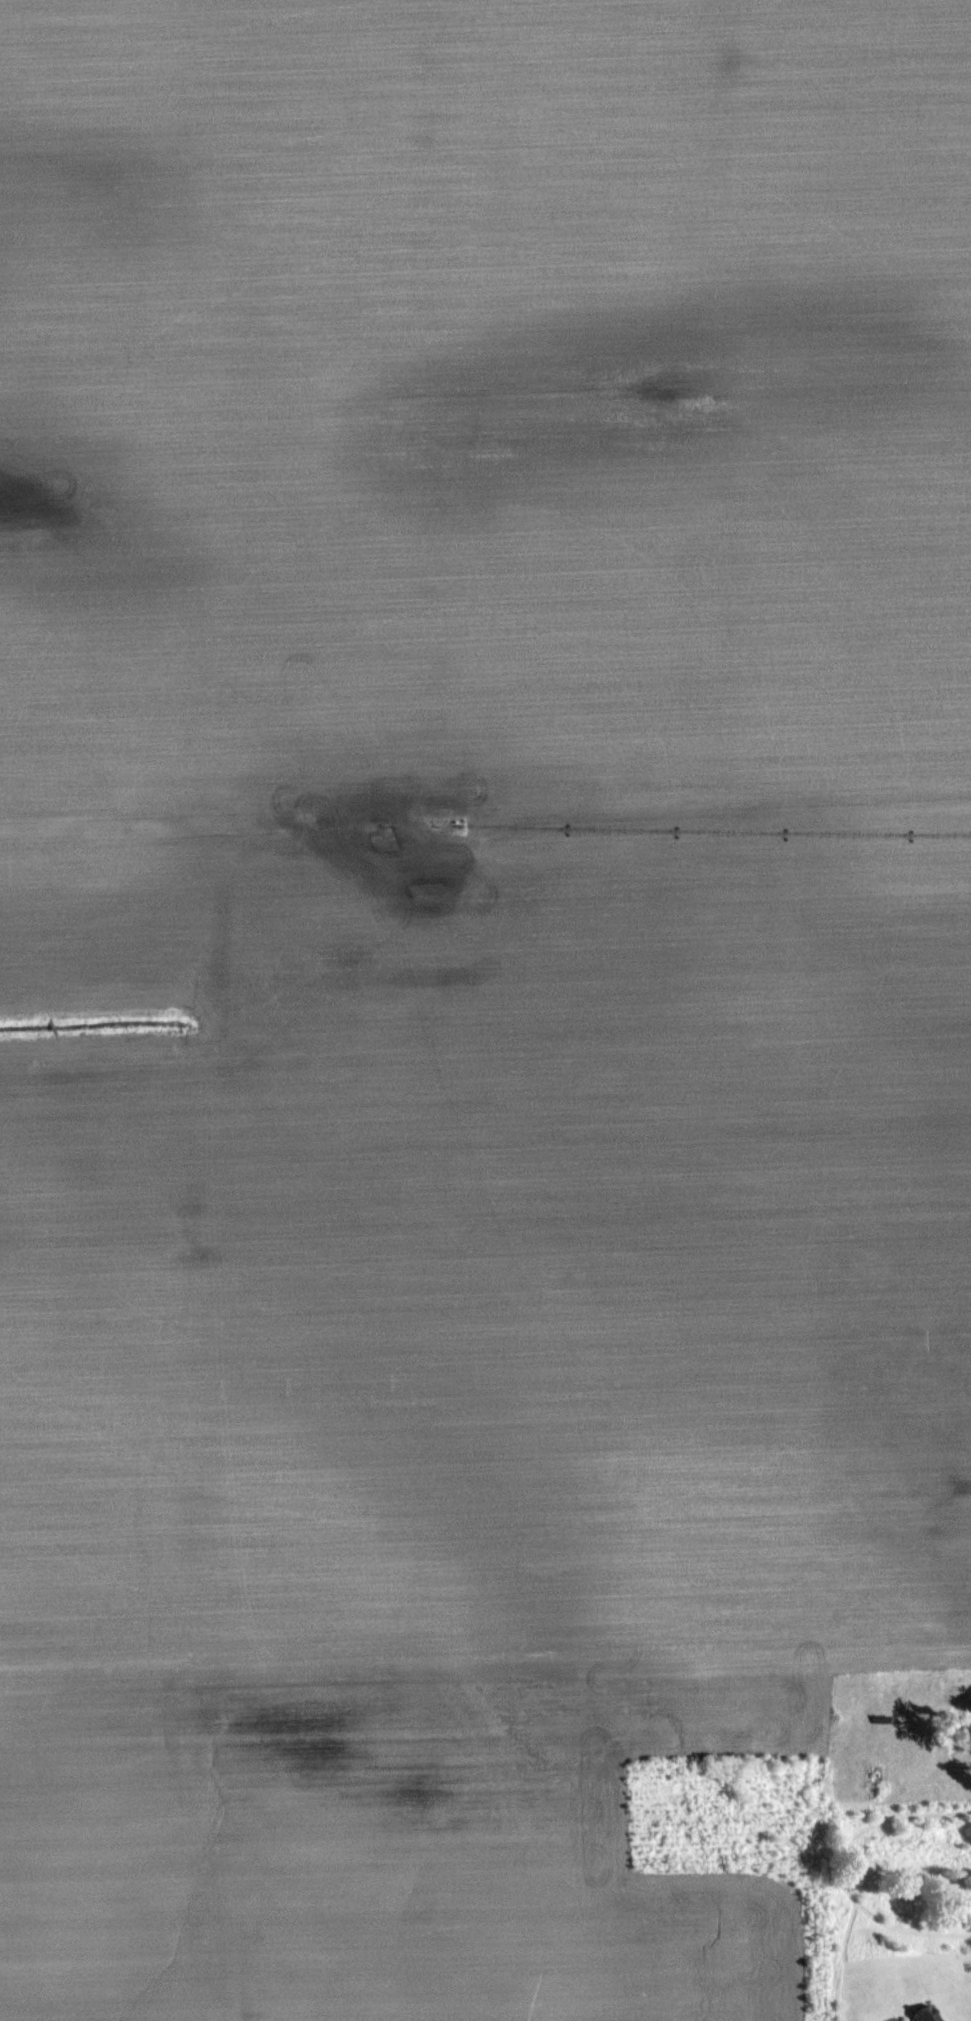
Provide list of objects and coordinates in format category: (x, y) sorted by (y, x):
building: (922, 2013)

